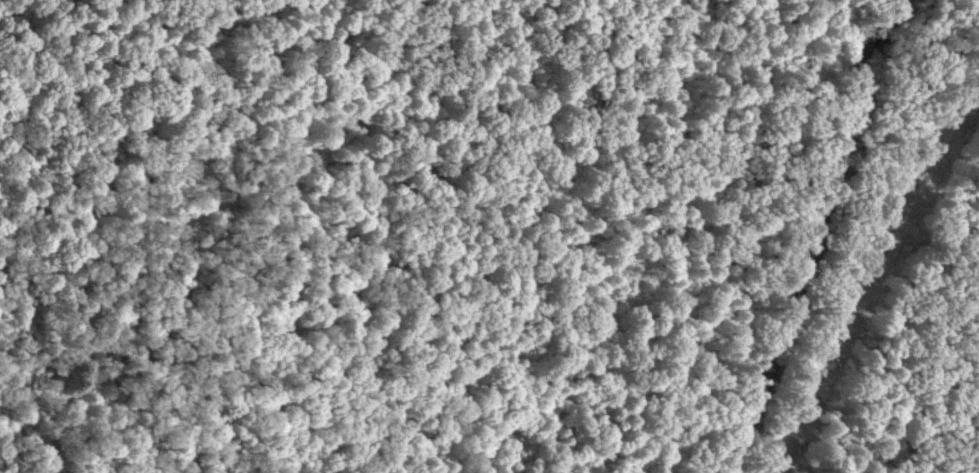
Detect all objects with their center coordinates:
road: (801, 231)

